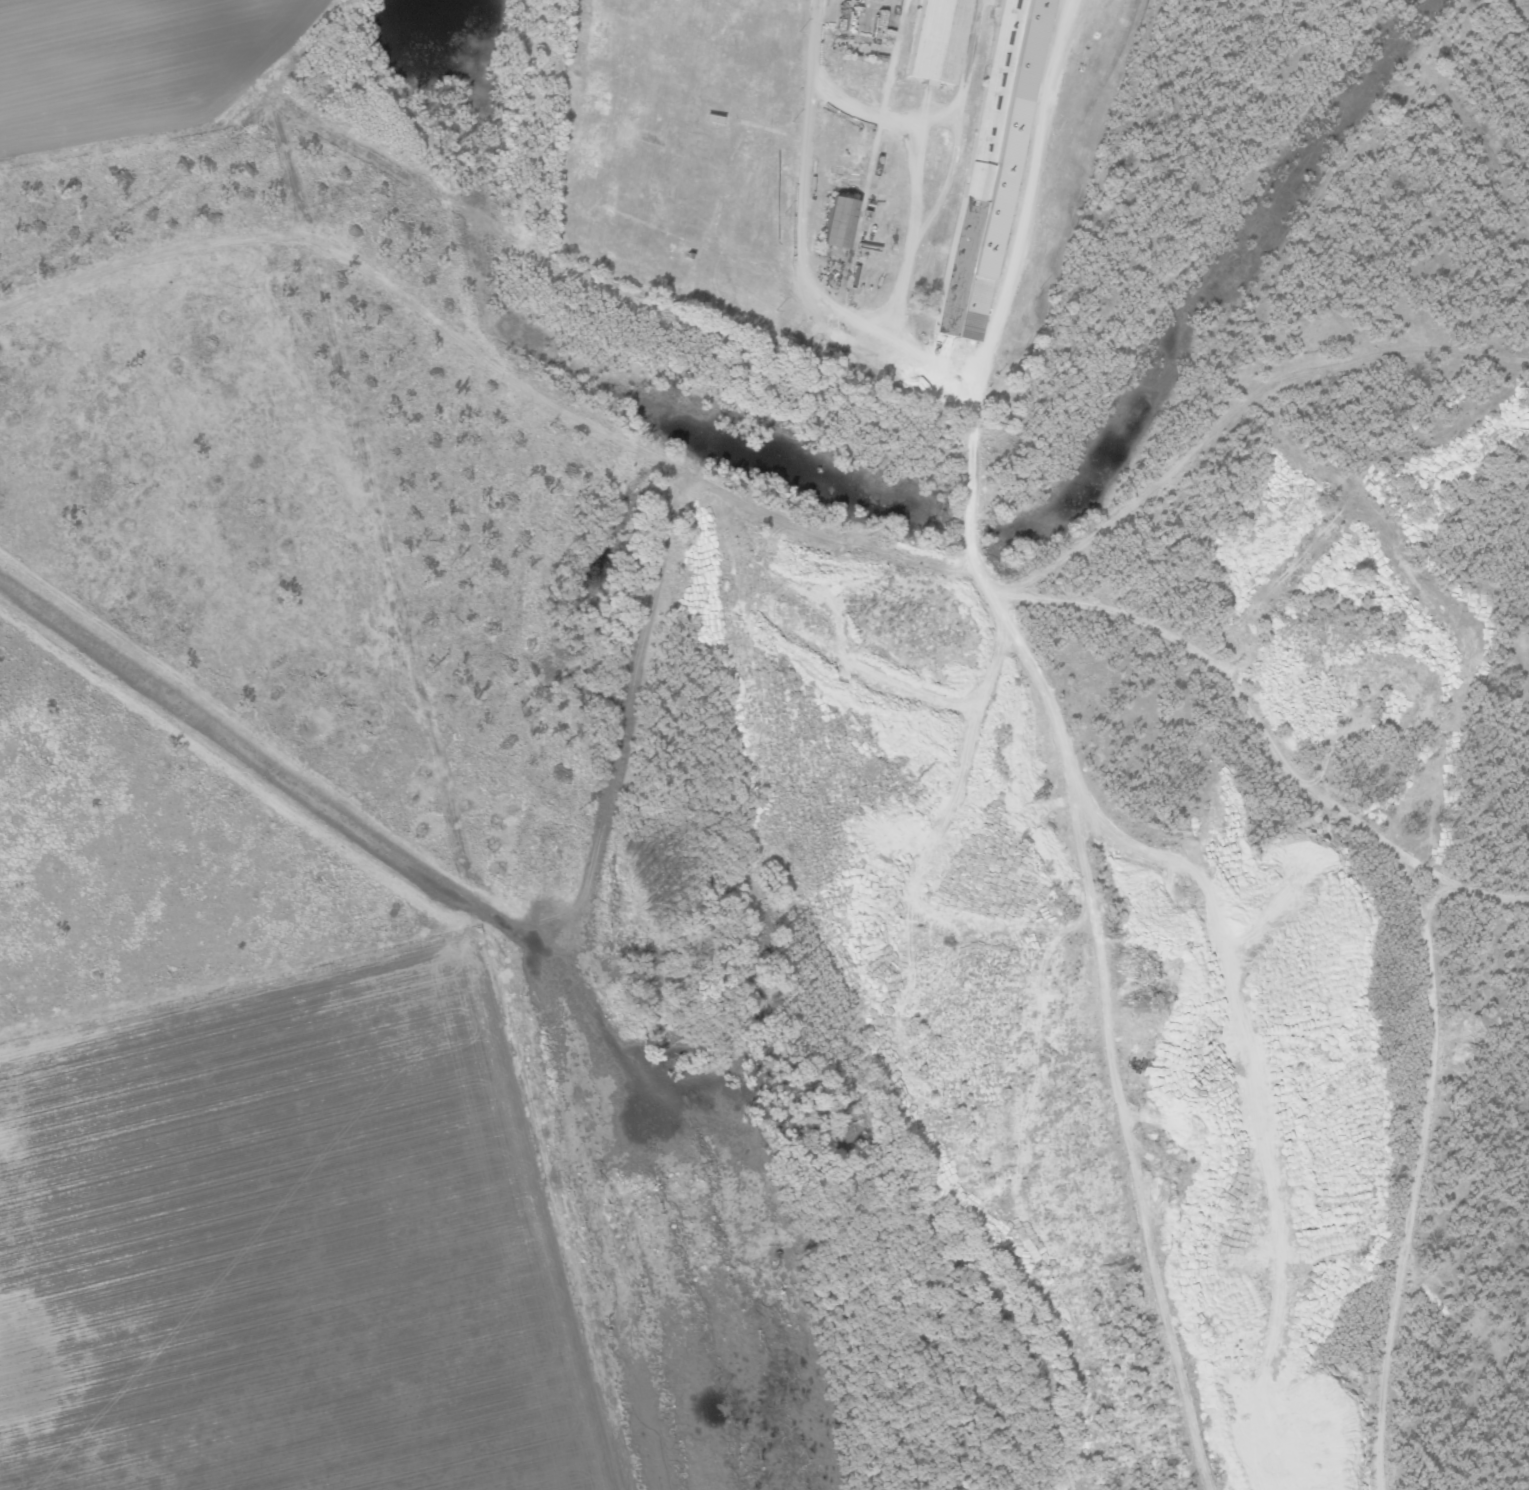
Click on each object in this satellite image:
building: (1006, 29)
building: (934, 40)
building: (1002, 170)
building: (838, 223)

